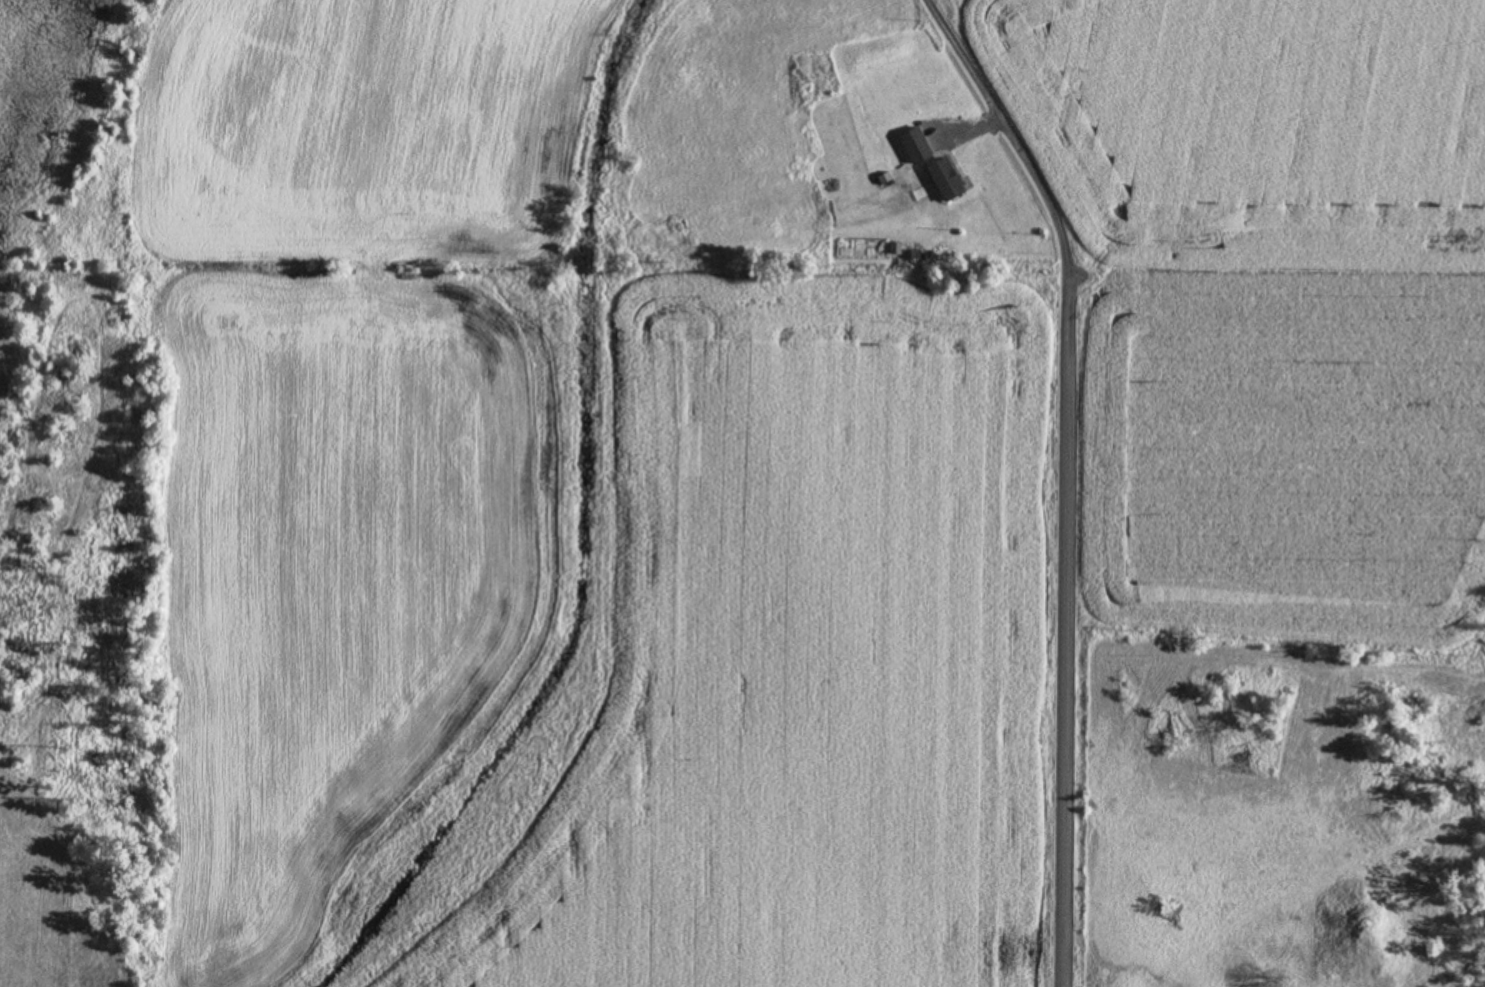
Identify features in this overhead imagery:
road: (1044, 137)
building: (943, 179)
road: (1088, 635)

